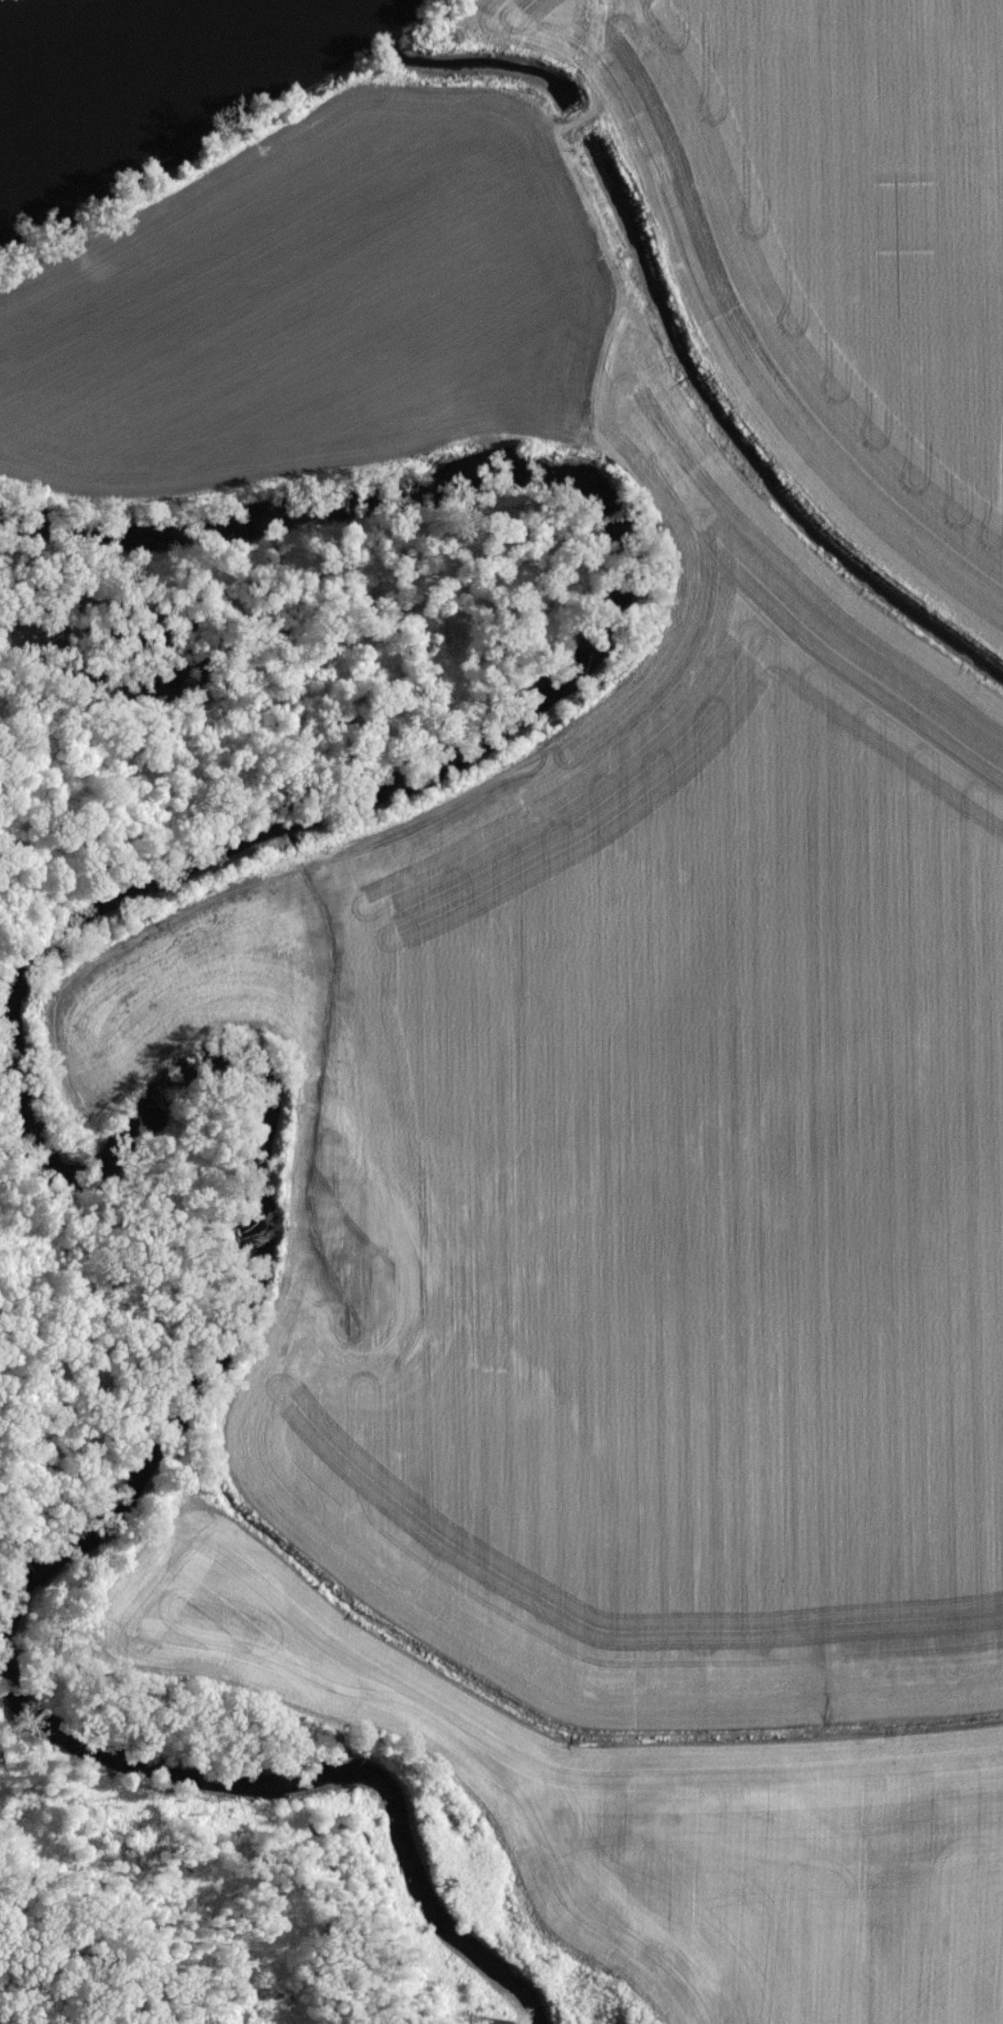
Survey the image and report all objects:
river: (135, 73)

